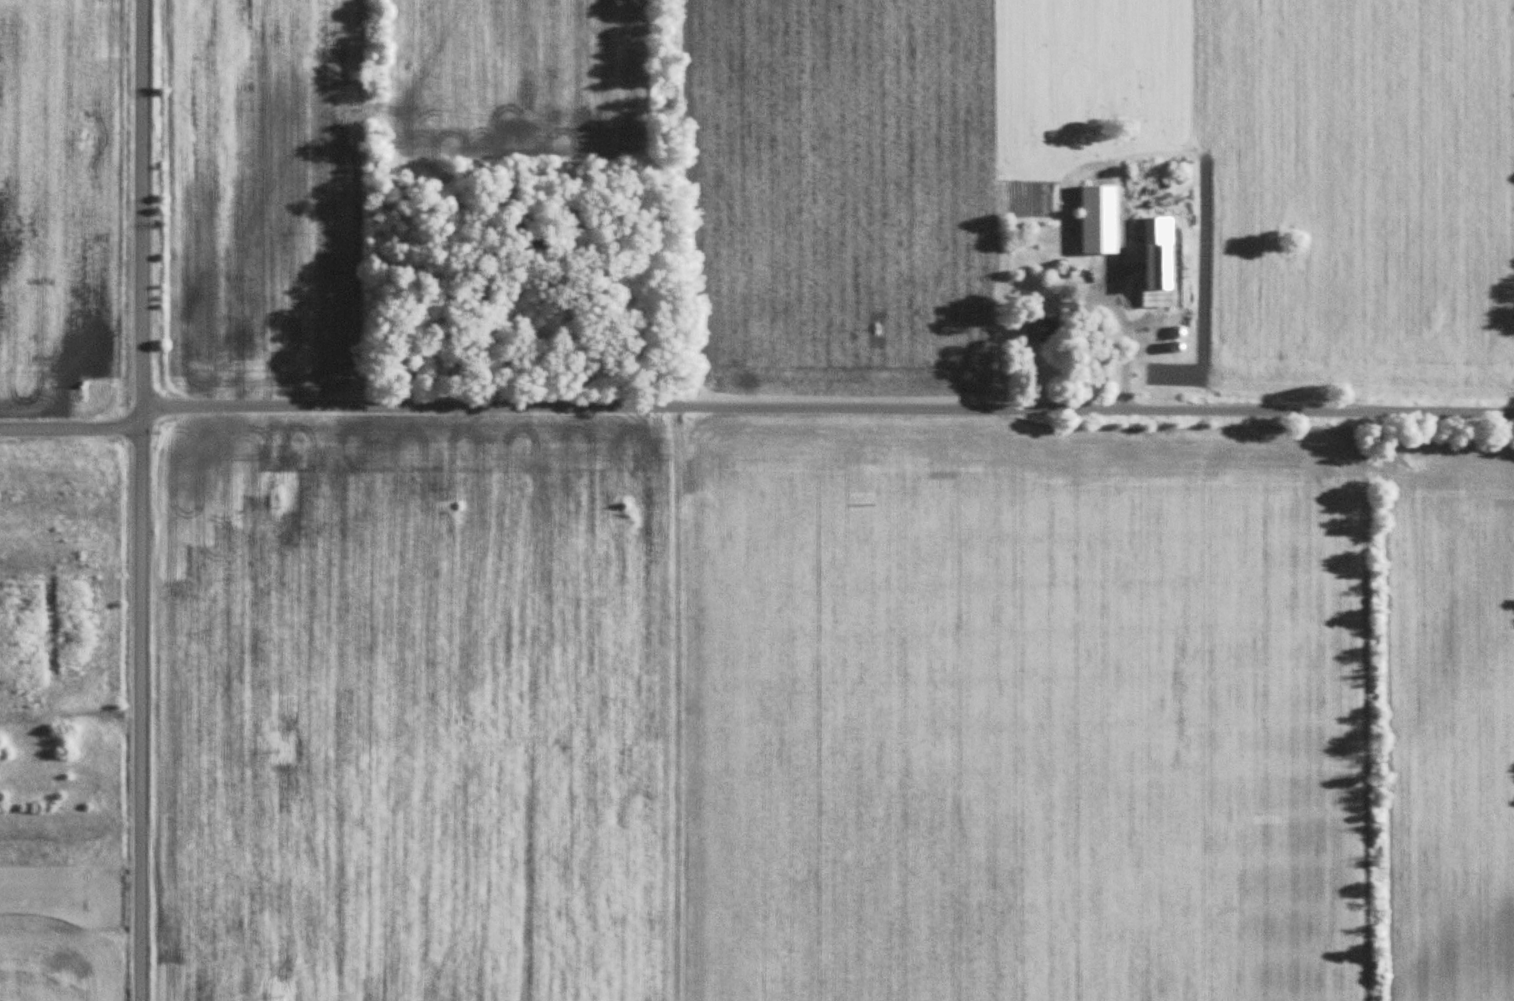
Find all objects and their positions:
building: (1092, 240)
building: (1158, 261)
road: (1103, 297)
building: (1068, 302)
building: (1038, 329)
road: (826, 410)
road: (68, 434)
road: (136, 500)
airport runway: (45, 887)

